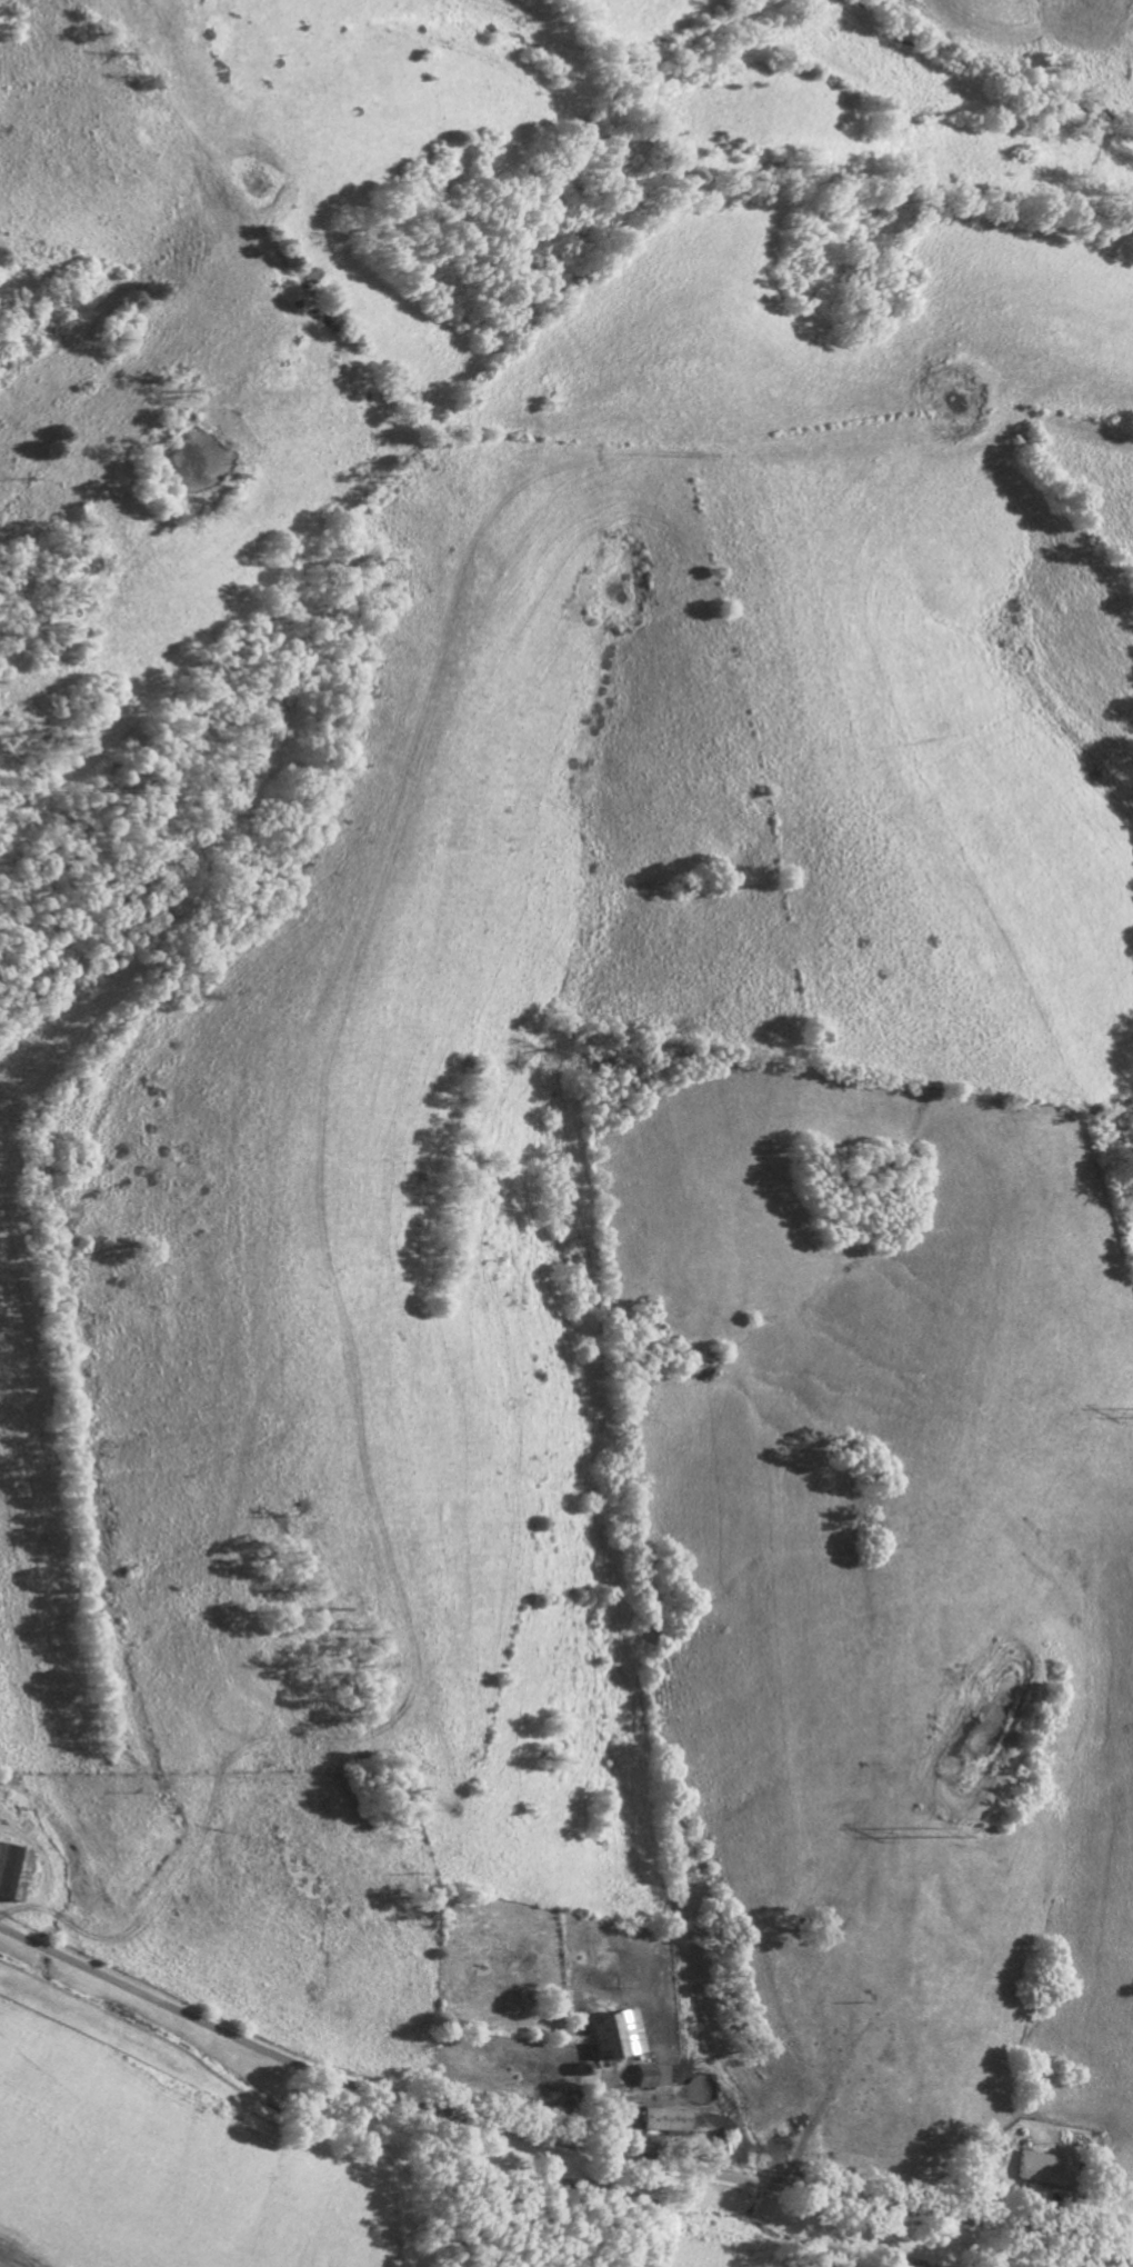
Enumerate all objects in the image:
park: (384, 1790)
power tower: (930, 1832)
building: (18, 1869)
building: (622, 2034)
road: (551, 2139)
building: (1051, 2169)

